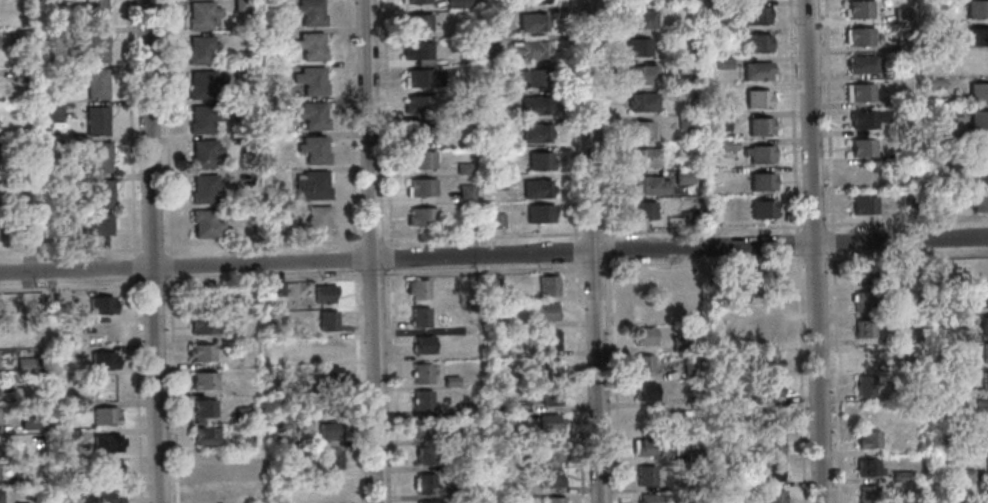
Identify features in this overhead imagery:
building: (64, 1)
building: (530, 1)
building: (645, 1)
building: (264, 2)
building: (417, 2)
building: (457, 4)
building: (242, 5)
building: (937, 5)
building: (726, 8)
building: (858, 10)
building: (977, 10)
building: (95, 12)
building: (310, 12)
building: (201, 14)
building: (901, 15)
building: (757, 16)
building: (640, 19)
building: (533, 22)
building: (417, 23)
building: (946, 29)
building: (272, 36)
building: (723, 36)
building: (22, 37)
building: (858, 37)
building: (59, 38)
building: (532, 38)
building: (978, 38)
building: (757, 44)
building: (903, 45)
building: (96, 46)
building: (311, 46)
building: (200, 49)
building: (637, 49)
building: (529, 50)
building: (417, 51)
building: (424, 62)
building: (723, 63)
building: (862, 64)
building: (684, 65)
building: (976, 65)
building: (492, 69)
building: (758, 71)
building: (241, 72)
building: (896, 73)
building: (19, 74)
building: (642, 75)
building: (533, 77)
building: (423, 79)
building: (311, 81)
building: (96, 83)
building: (203, 85)
building: (936, 85)
building: (858, 93)
building: (979, 93)
building: (759, 99)
building: (896, 99)
building: (496, 100)
building: (642, 102)
building: (419, 105)
building: (535, 105)
building: (242, 108)
building: (275, 108)
building: (54, 110)
building: (934, 112)
building: (464, 114)
building: (312, 115)
road: (792, 116)
road: (828, 116)
building: (202, 118)
building: (96, 119)
building: (868, 119)
road: (571, 120)
road: (607, 120)
building: (979, 120)
building: (958, 121)
building: (686, 122)
road: (386, 123)
building: (720, 123)
road: (350, 125)
building: (761, 126)
road: (167, 127)
building: (641, 130)
building: (419, 132)
building: (536, 133)
building: (945, 144)
building: (42, 145)
building: (729, 145)
building: (27, 148)
building: (862, 149)
building: (978, 149)
building: (314, 150)
building: (204, 152)
building: (761, 154)
building: (99, 157)
building: (644, 158)
building: (420, 160)
building: (540, 161)
building: (465, 168)
building: (862, 175)
building: (980, 176)
building: (684, 178)
building: (495, 182)
building: (762, 183)
building: (312, 185)
building: (649, 186)
building: (204, 188)
building: (421, 188)
building: (537, 189)
building: (466, 192)
building: (102, 193)
building: (937, 199)
building: (910, 200)
building: (980, 203)
building: (863, 206)
building: (762, 210)
building: (643, 211)
building: (540, 214)
building: (422, 217)
building: (688, 218)
building: (316, 220)
building: (496, 220)
road: (906, 222)
building: (205, 223)
building: (468, 224)
building: (99, 225)
road: (814, 225)
road: (703, 230)
building: (29, 233)
road: (592, 234)
road: (538, 235)
road: (398, 239)
road: (371, 241)
road: (832, 243)
road: (495, 244)
road: (796, 244)
road: (262, 245)
road: (574, 247)
road: (153, 248)
road: (70, 250)
road: (133, 251)
road: (151, 251)
road: (372, 251)
road: (593, 251)
road: (611, 251)
road: (814, 251)
road: (390, 253)
road: (494, 256)
road: (906, 259)
road: (354, 260)
road: (814, 262)
road: (170, 266)
road: (703, 266)
road: (599, 269)
building: (910, 270)
building: (982, 272)
building: (864, 275)
road: (367, 277)
road: (316, 279)
building: (757, 280)
building: (645, 281)
road: (226, 282)
building: (496, 283)
road: (171, 284)
road: (151, 285)
building: (548, 285)
road: (70, 287)
building: (276, 289)
building: (420, 289)
building: (325, 294)
building: (985, 297)
building: (198, 299)
building: (863, 302)
building: (101, 305)
building: (767, 307)
building: (642, 309)
building: (548, 311)
building: (421, 318)
building: (327, 321)
building: (983, 324)
building: (202, 325)
building: (863, 329)
building: (104, 332)
building: (769, 332)
building: (959, 335)
building: (644, 336)
building: (549, 339)
building: (680, 343)
building: (423, 344)
building: (324, 348)
building: (201, 353)
building: (985, 353)
building: (292, 357)
building: (870, 357)
building: (103, 360)
building: (769, 361)
building: (23, 365)
building: (642, 365)
building: (549, 367)
building: (690, 369)
building: (746, 371)
building: (423, 373)
building: (328, 376)
road: (836, 378)
road: (800, 379)
building: (203, 380)
building: (985, 380)
building: (452, 381)
road: (614, 381)
building: (913, 384)
building: (864, 385)
road: (357, 387)
building: (769, 388)
road: (172, 390)
building: (227, 390)
building: (645, 392)
building: (551, 394)
building: (735, 400)
building: (423, 401)
building: (693, 401)
building: (330, 404)
building: (71, 407)
building: (204, 408)
building: (982, 409)
building: (242, 414)
building: (0, 415)
building: (301, 415)
building: (771, 415)
building: (105, 416)
building: (934, 418)
building: (28, 421)
building: (550, 425)
building: (328, 432)
building: (205, 436)
building: (982, 436)
building: (68, 437)
building: (868, 440)
building: (107, 443)
building: (244, 443)
building: (771, 445)
building: (644, 447)
building: (953, 447)
building: (555, 451)
building: (427, 452)
building: (694, 456)
building: (330, 459)
building: (80, 462)
building: (987, 463)
building: (203, 464)
building: (866, 467)
building: (106, 471)
building: (772, 471)
building: (645, 475)
building: (966, 475)
building: (900, 476)
building: (554, 478)
building: (21, 480)
building: (426, 483)
building: (508, 490)
building: (206, 491)
building: (987, 491)
building: (74, 492)
building: (868, 494)
building: (0, 496)
building: (107, 496)
building: (773, 497)
building: (958, 498)
building: (648, 499)
building: (555, 500)
building: (907, 500)
building: (429, 502)

